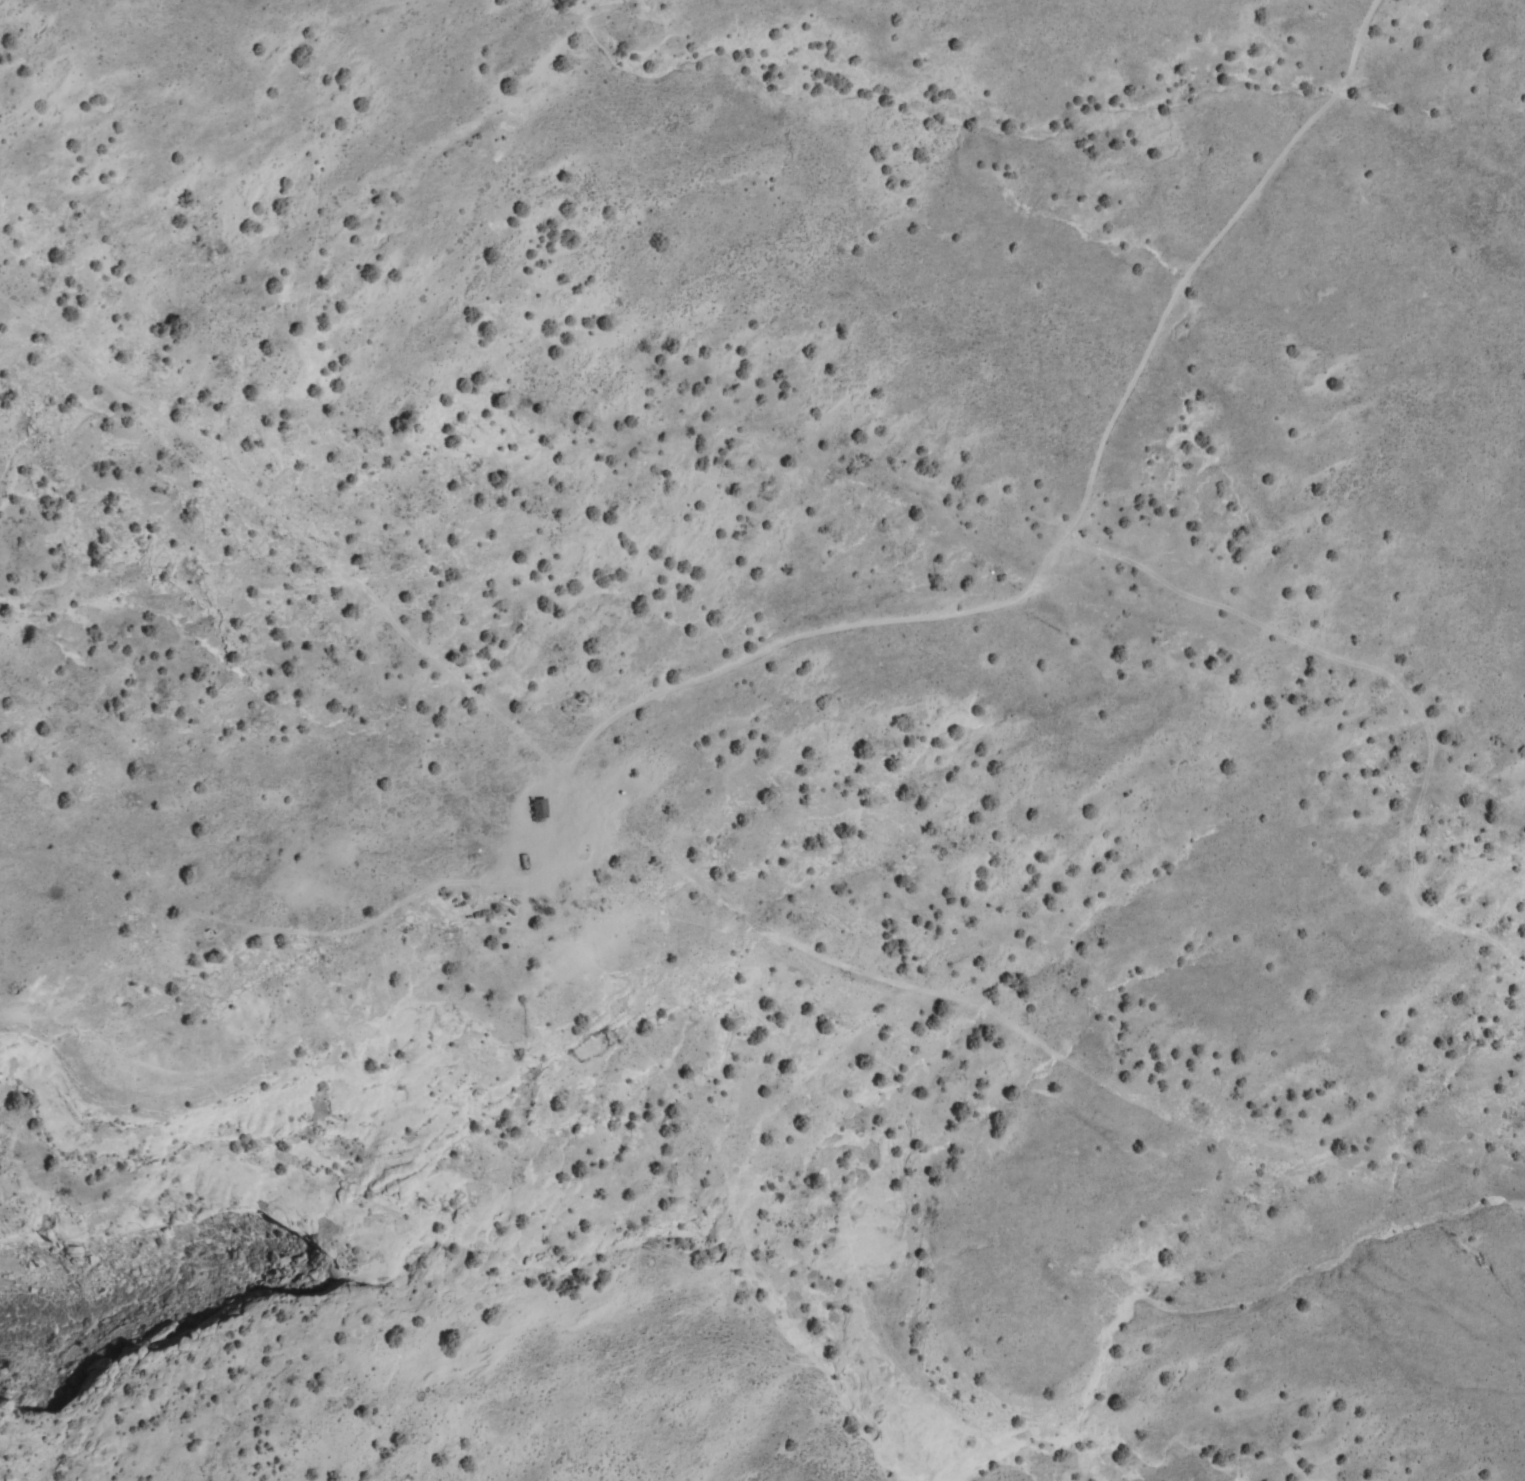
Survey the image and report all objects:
building: (542, 808)
road: (687, 871)

